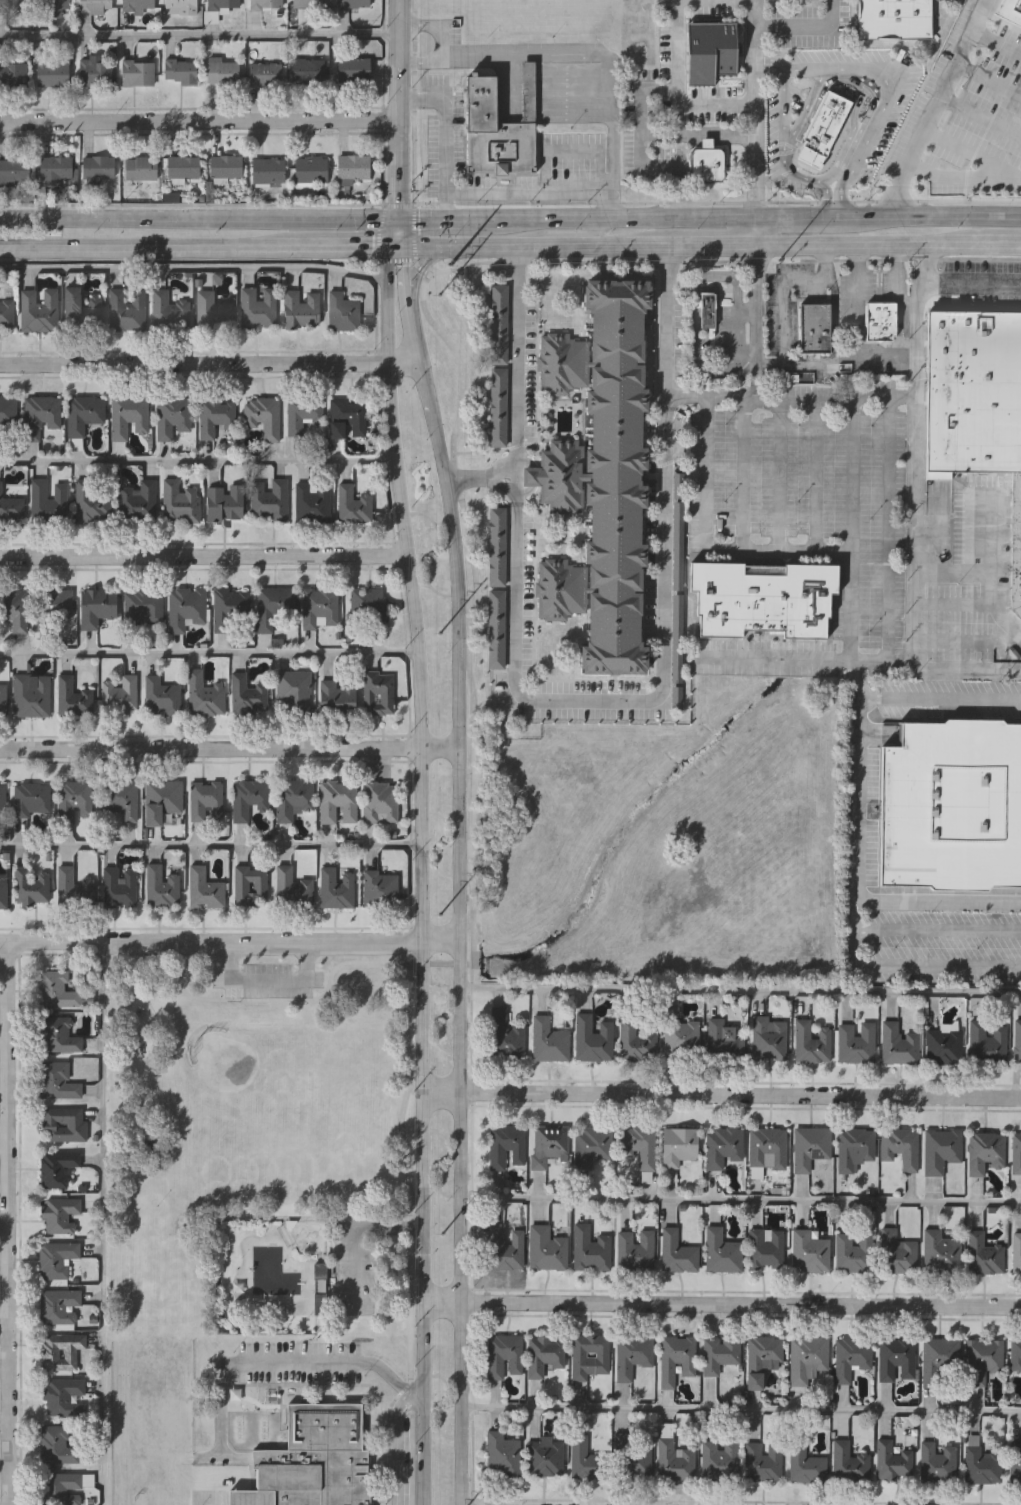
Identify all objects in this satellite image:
building: (352, 3)
building: (52, 4)
building: (137, 4)
building: (264, 4)
building: (94, 5)
building: (13, 6)
building: (179, 6)
building: (218, 7)
building: (304, 9)
building: (1009, 10)
road: (437, 15)
building: (894, 19)
road: (803, 25)
road: (200, 35)
road: (995, 39)
road: (959, 45)
road: (592, 49)
road: (421, 50)
building: (709, 51)
road: (767, 64)
road: (808, 67)
building: (352, 69)
building: (93, 70)
building: (221, 70)
building: (307, 70)
building: (179, 71)
building: (51, 72)
building: (137, 72)
building: (13, 73)
building: (264, 73)
road: (985, 80)
building: (526, 90)
road: (639, 97)
road: (715, 101)
road: (413, 102)
road: (398, 108)
road: (753, 108)
road: (925, 112)
road: (199, 120)
building: (1019, 120)
building: (824, 128)
road: (696, 132)
building: (493, 133)
building: (707, 163)
building: (182, 165)
building: (225, 165)
building: (96, 166)
building: (139, 167)
building: (56, 168)
building: (310, 168)
building: (352, 168)
building: (14, 170)
building: (267, 170)
road: (953, 190)
road: (460, 191)
road: (841, 195)
road: (825, 197)
road: (445, 200)
road: (716, 202)
road: (398, 205)
road: (607, 205)
road: (936, 215)
road: (156, 216)
road: (645, 216)
road: (718, 216)
road: (802, 216)
road: (354, 217)
traffic signals: (397, 217)
road: (421, 217)
road: (469, 217)
road: (550, 217)
road: (754, 231)
road: (376, 232)
road: (396, 232)
road: (414, 232)
road: (565, 232)
road: (141, 245)
road: (998, 245)
road: (339, 246)
road: (524, 246)
road: (704, 246)
road: (865, 246)
traffic signals: (396, 247)
road: (395, 259)
road: (723, 260)
road: (419, 269)
road: (192, 271)
road: (754, 279)
road: (697, 280)
road: (953, 282)
building: (80, 306)
building: (256, 306)
building: (300, 307)
building: (125, 308)
building: (37, 309)
building: (167, 310)
building: (212, 310)
building: (341, 310)
building: (707, 310)
building: (6, 313)
road: (746, 314)
building: (878, 321)
building: (498, 323)
building: (815, 326)
road: (754, 328)
road: (738, 336)
road: (921, 338)
road: (668, 342)
road: (876, 349)
road: (781, 355)
road: (204, 364)
road: (753, 369)
road: (725, 370)
road: (516, 375)
building: (973, 393)
road: (710, 396)
road: (667, 404)
building: (499, 406)
building: (82, 412)
building: (7, 413)
building: (39, 414)
building: (303, 414)
building: (126, 415)
building: (171, 415)
building: (214, 415)
building: (262, 415)
building: (346, 417)
road: (199, 461)
road: (745, 471)
road: (777, 471)
road: (812, 471)
road: (851, 471)
road: (889, 471)
building: (598, 476)
road: (481, 480)
road: (447, 494)
road: (403, 495)
building: (136, 498)
building: (268, 498)
building: (47, 500)
building: (90, 500)
building: (311, 500)
building: (179, 501)
building: (224, 501)
building: (351, 503)
building: (10, 506)
building: (497, 545)
building: (1016, 546)
road: (206, 556)
road: (984, 572)
road: (951, 573)
building: (674, 589)
building: (763, 599)
road: (851, 603)
road: (955, 604)
building: (96, 605)
building: (269, 605)
building: (184, 606)
building: (141, 607)
building: (227, 607)
building: (318, 607)
building: (365, 607)
building: (53, 608)
building: (15, 609)
building: (497, 628)
road: (967, 642)
road: (208, 654)
road: (844, 657)
road: (913, 662)
building: (292, 689)
building: (118, 692)
building: (376, 692)
building: (203, 693)
building: (337, 693)
building: (30, 694)
building: (160, 694)
building: (247, 694)
road: (636, 696)
building: (71, 697)
building: (2, 698)
road: (439, 747)
road: (211, 749)
building: (118, 797)
building: (247, 797)
building: (291, 797)
building: (2, 798)
building: (30, 798)
building: (73, 799)
building: (160, 799)
building: (205, 799)
building: (336, 800)
building: (379, 801)
building: (952, 806)
road: (472, 809)
road: (860, 828)
road: (211, 847)
building: (161, 884)
building: (250, 884)
building: (30, 886)
building: (72, 886)
building: (118, 886)
building: (291, 886)
building: (335, 886)
building: (203, 888)
building: (379, 888)
building: (2, 889)
road: (941, 900)
road: (941, 929)
road: (228, 944)
road: (262, 984)
building: (55, 989)
road: (739, 992)
road: (424, 1025)
road: (457, 1025)
building: (505, 1033)
building: (57, 1034)
building: (592, 1038)
building: (768, 1038)
road: (4, 1039)
building: (548, 1039)
building: (681, 1039)
building: (635, 1040)
building: (987, 1040)
building: (724, 1042)
building: (811, 1042)
building: (855, 1042)
building: (1017, 1043)
building: (898, 1044)
building: (943, 1045)
building: (56, 1080)
road: (722, 1101)
park: (271, 1109)
building: (63, 1124)
road: (4, 1133)
building: (546, 1144)
building: (592, 1144)
building: (505, 1145)
building: (679, 1145)
building: (722, 1146)
building: (810, 1146)
building: (853, 1147)
building: (900, 1147)
building: (641, 1148)
building: (766, 1149)
building: (940, 1150)
building: (985, 1151)
building: (1016, 1152)
park: (263, 1153)
building: (56, 1166)
road: (739, 1199)
building: (58, 1213)
road: (9, 1223)
road: (95, 1225)
road: (356, 1231)
road: (409, 1231)
road: (4, 1235)
building: (504, 1246)
building: (546, 1248)
building: (590, 1248)
building: (939, 1248)
building: (765, 1249)
building: (634, 1250)
building: (677, 1251)
building: (722, 1251)
building: (809, 1251)
building: (854, 1251)
building: (1016, 1252)
building: (897, 1253)
building: (983, 1254)
building: (56, 1257)
parking lot: (355, 1265)
building: (319, 1288)
building: (58, 1304)
road: (441, 1304)
road: (739, 1305)
road: (4, 1326)
building: (60, 1349)
building: (719, 1352)
building: (544, 1354)
building: (1015, 1354)
building: (503, 1355)
building: (588, 1355)
building: (631, 1355)
building: (851, 1356)
building: (761, 1357)
building: (805, 1357)
building: (676, 1358)
building: (896, 1358)
building: (982, 1358)
building: (940, 1361)
road: (292, 1362)
road: (386, 1373)
building: (61, 1394)
road: (423, 1404)
road: (458, 1404)
road: (220, 1407)
road: (740, 1409)
road: (5, 1423)
road: (398, 1439)
building: (53, 1442)
building: (502, 1454)
building: (545, 1455)
building: (309, 1458)
building: (587, 1459)
building: (637, 1459)
building: (675, 1459)
building: (1015, 1459)
building: (719, 1460)
building: (762, 1461)
building: (848, 1462)
building: (893, 1462)
building: (936, 1462)
building: (804, 1464)
building: (981, 1465)
building: (62, 1487)
road: (481, 1504)

